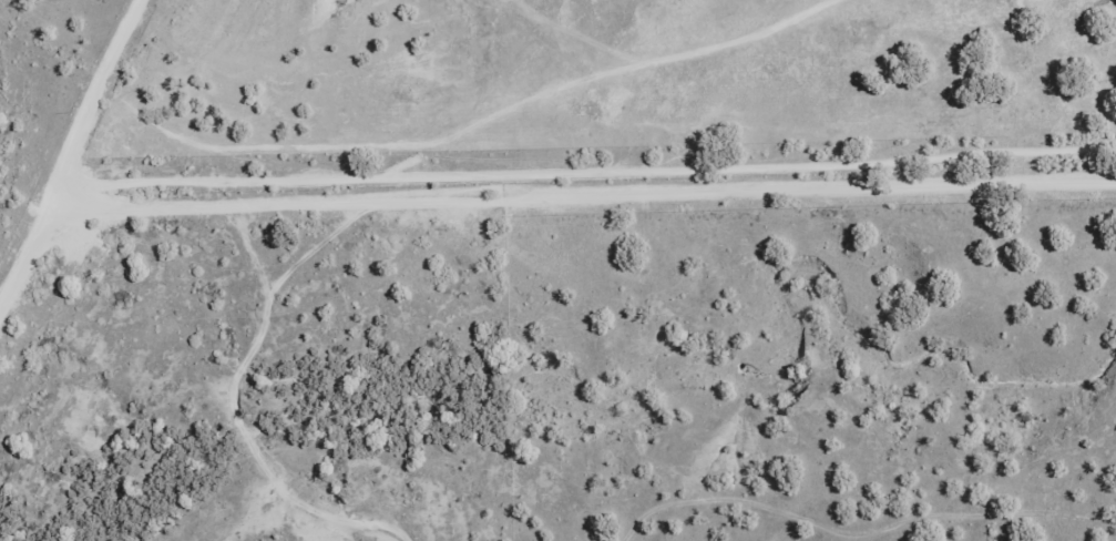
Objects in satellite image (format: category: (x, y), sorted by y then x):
road: (100, 119)
road: (470, 122)
road: (528, 194)

